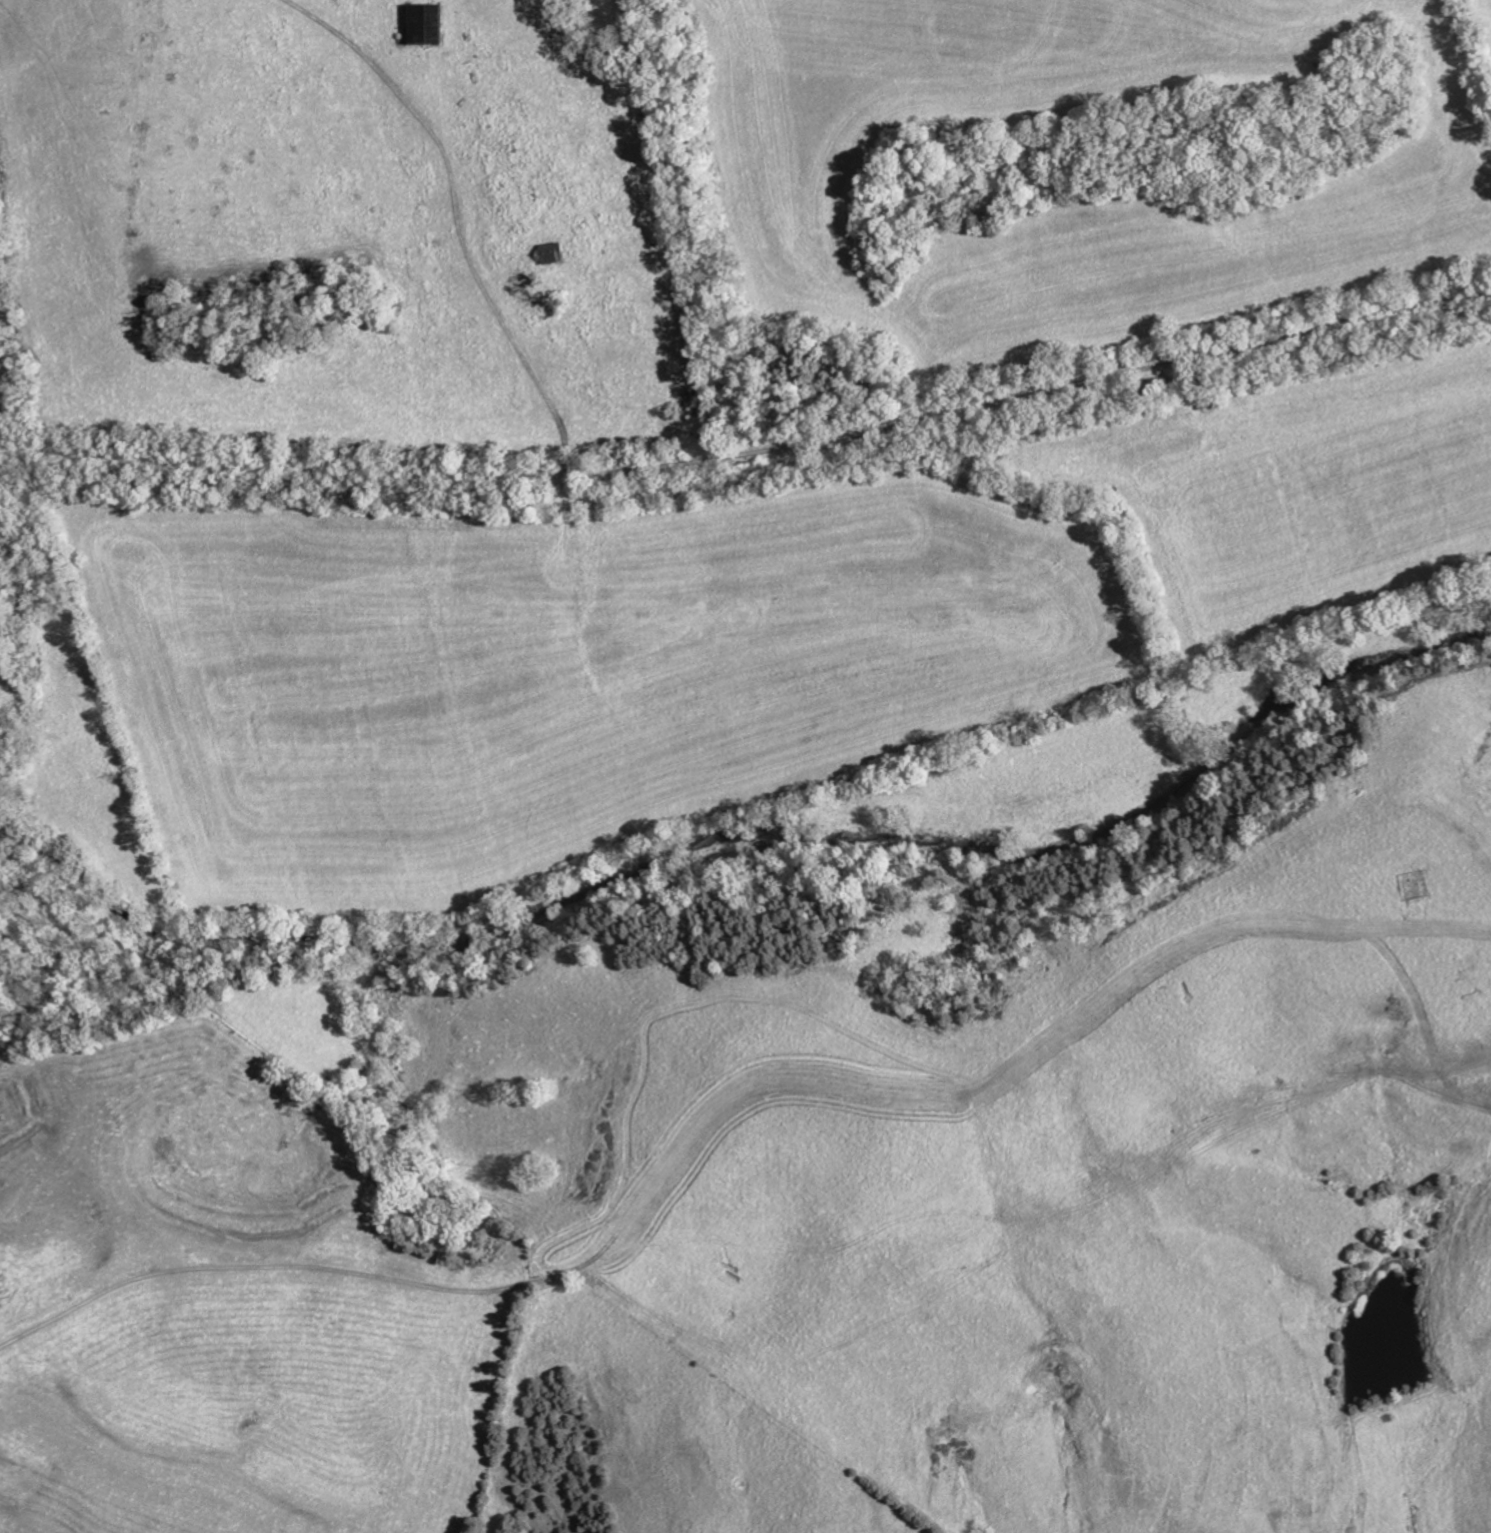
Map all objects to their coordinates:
building: (429, 24)
road: (94, 468)
park: (1416, 883)
road: (229, 1270)

